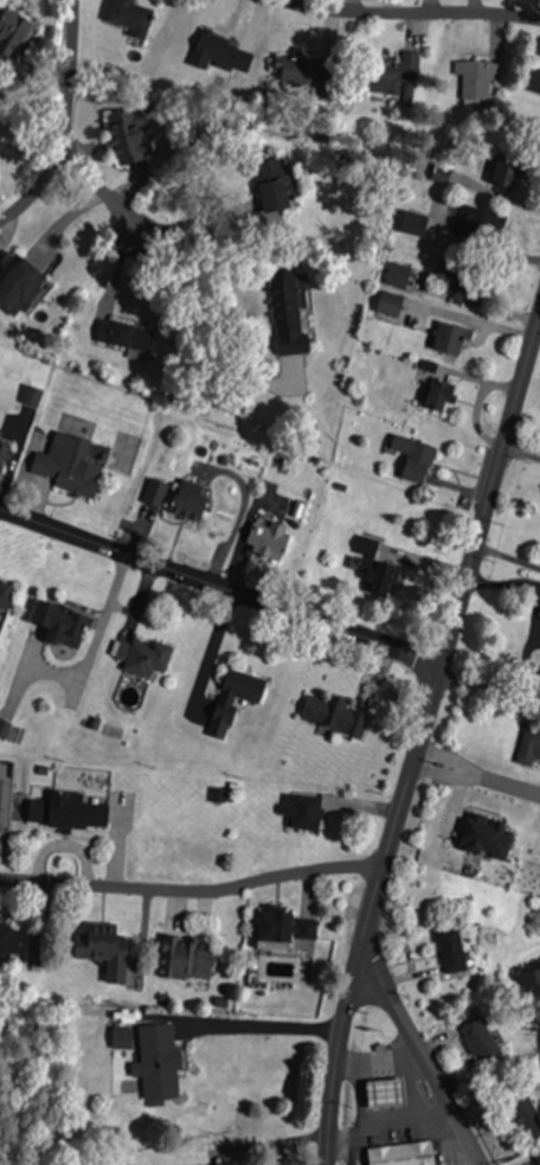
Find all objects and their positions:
road: (412, 11)
building: (128, 18)
building: (12, 31)
building: (219, 52)
building: (297, 71)
building: (392, 75)
building: (475, 79)
building: (534, 79)
road: (63, 121)
building: (126, 136)
building: (504, 171)
road: (71, 191)
building: (274, 193)
building: (476, 223)
building: (15, 280)
building: (458, 283)
building: (285, 309)
building: (124, 337)
building: (449, 338)
building: (436, 395)
building: (1, 444)
building: (413, 457)
building: (65, 466)
building: (154, 492)
building: (187, 500)
building: (268, 536)
building: (380, 577)
road: (220, 585)
building: (5, 598)
building: (60, 623)
building: (142, 657)
building: (231, 704)
building: (329, 713)
road: (419, 737)
building: (528, 745)
road: (448, 756)
road: (443, 773)
road: (509, 783)
building: (302, 811)
building: (64, 812)
building: (500, 837)
road: (189, 889)
building: (274, 929)
building: (13, 941)
building: (450, 949)
building: (103, 950)
building: (185, 959)
building: (478, 1042)
road: (419, 1056)
building: (157, 1062)
park: (38, 1070)
building: (525, 1118)
building: (536, 1153)
building: (401, 1154)

